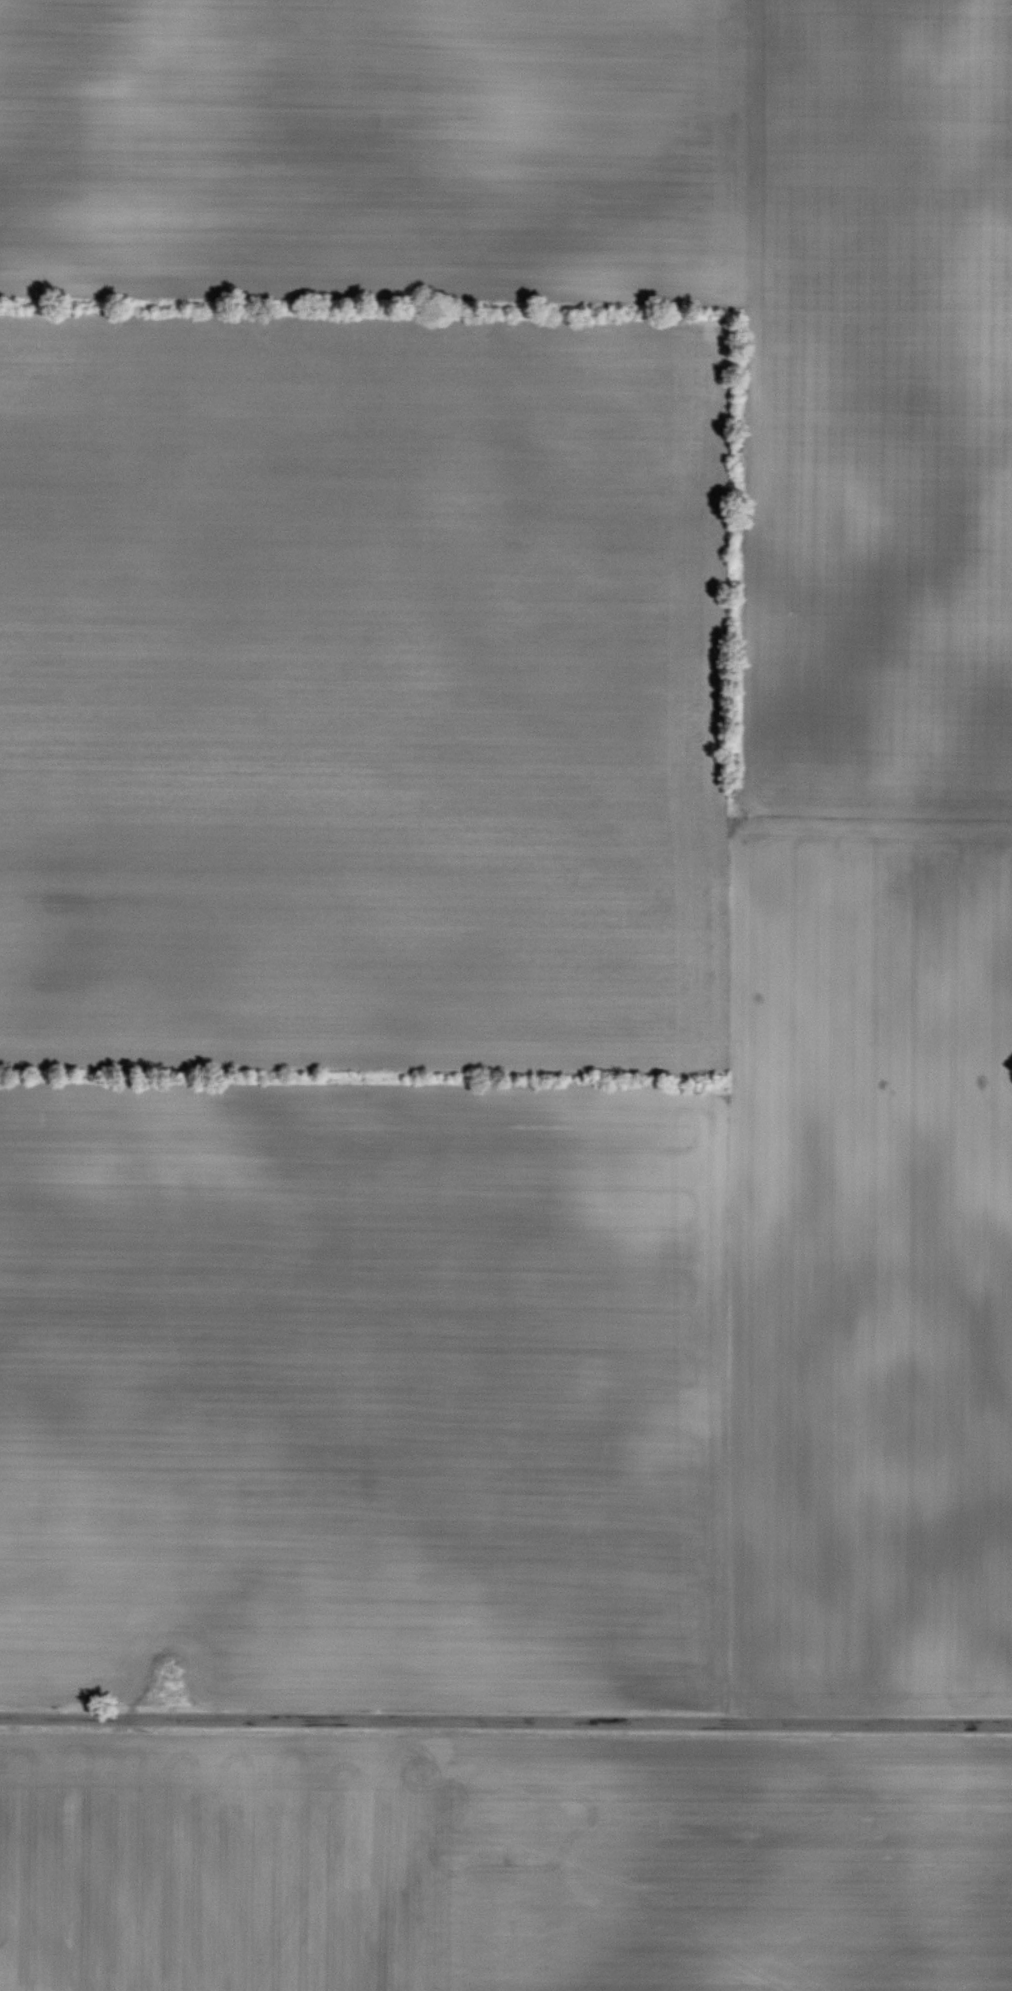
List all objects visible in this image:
road: (506, 1717)

